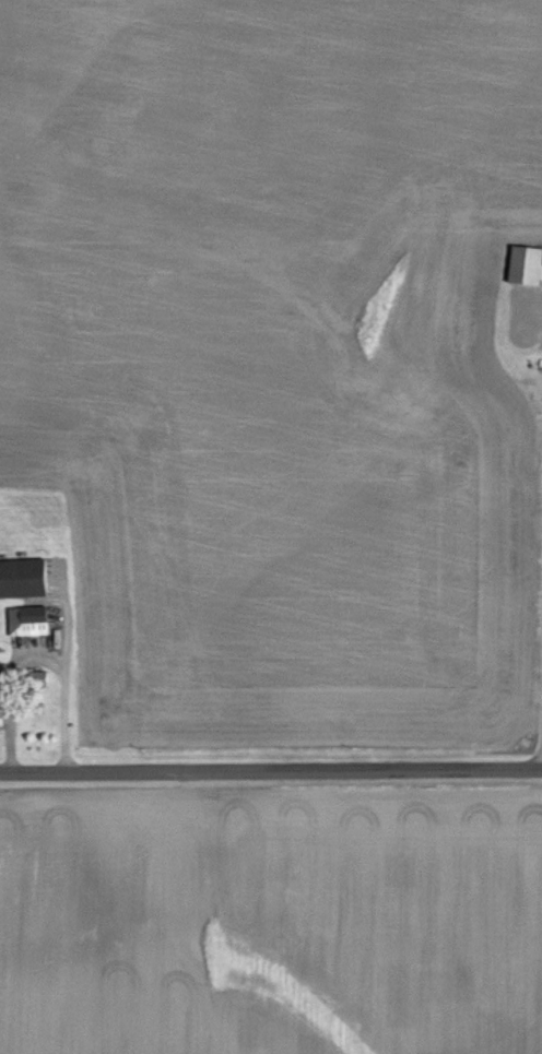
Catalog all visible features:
building: (523, 267)
building: (21, 579)
building: (26, 620)
road: (73, 663)
road: (23, 684)
road: (271, 756)

